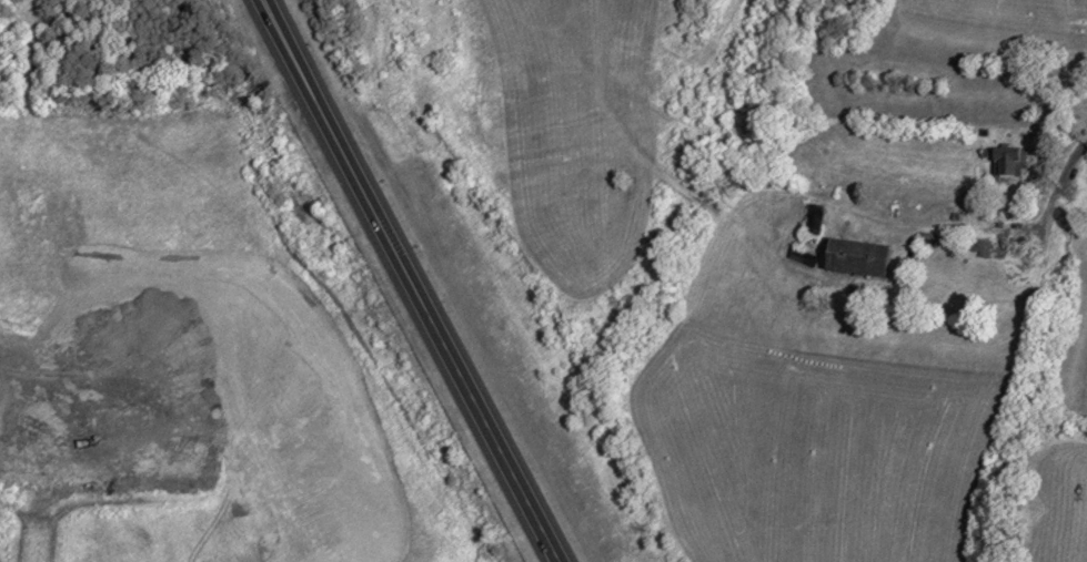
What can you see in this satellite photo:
building: (1007, 163)
road: (1061, 190)
road: (411, 280)

